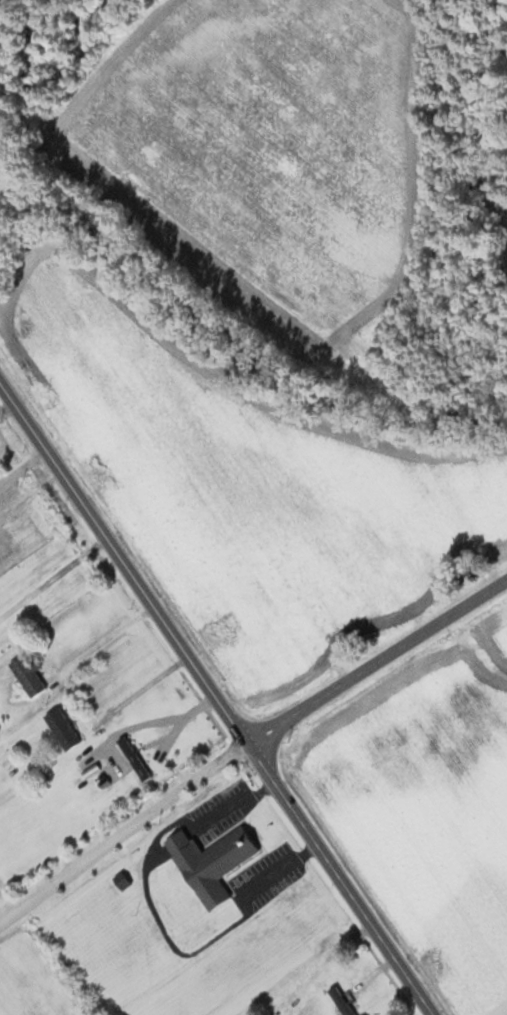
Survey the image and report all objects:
road: (5, 404)
road: (20, 460)
road: (29, 493)
road: (51, 573)
road: (100, 636)
road: (376, 657)
building: (27, 671)
road: (136, 686)
road: (216, 699)
road: (151, 719)
building: (62, 727)
building: (133, 756)
road: (123, 830)
building: (212, 860)
building: (339, 999)

